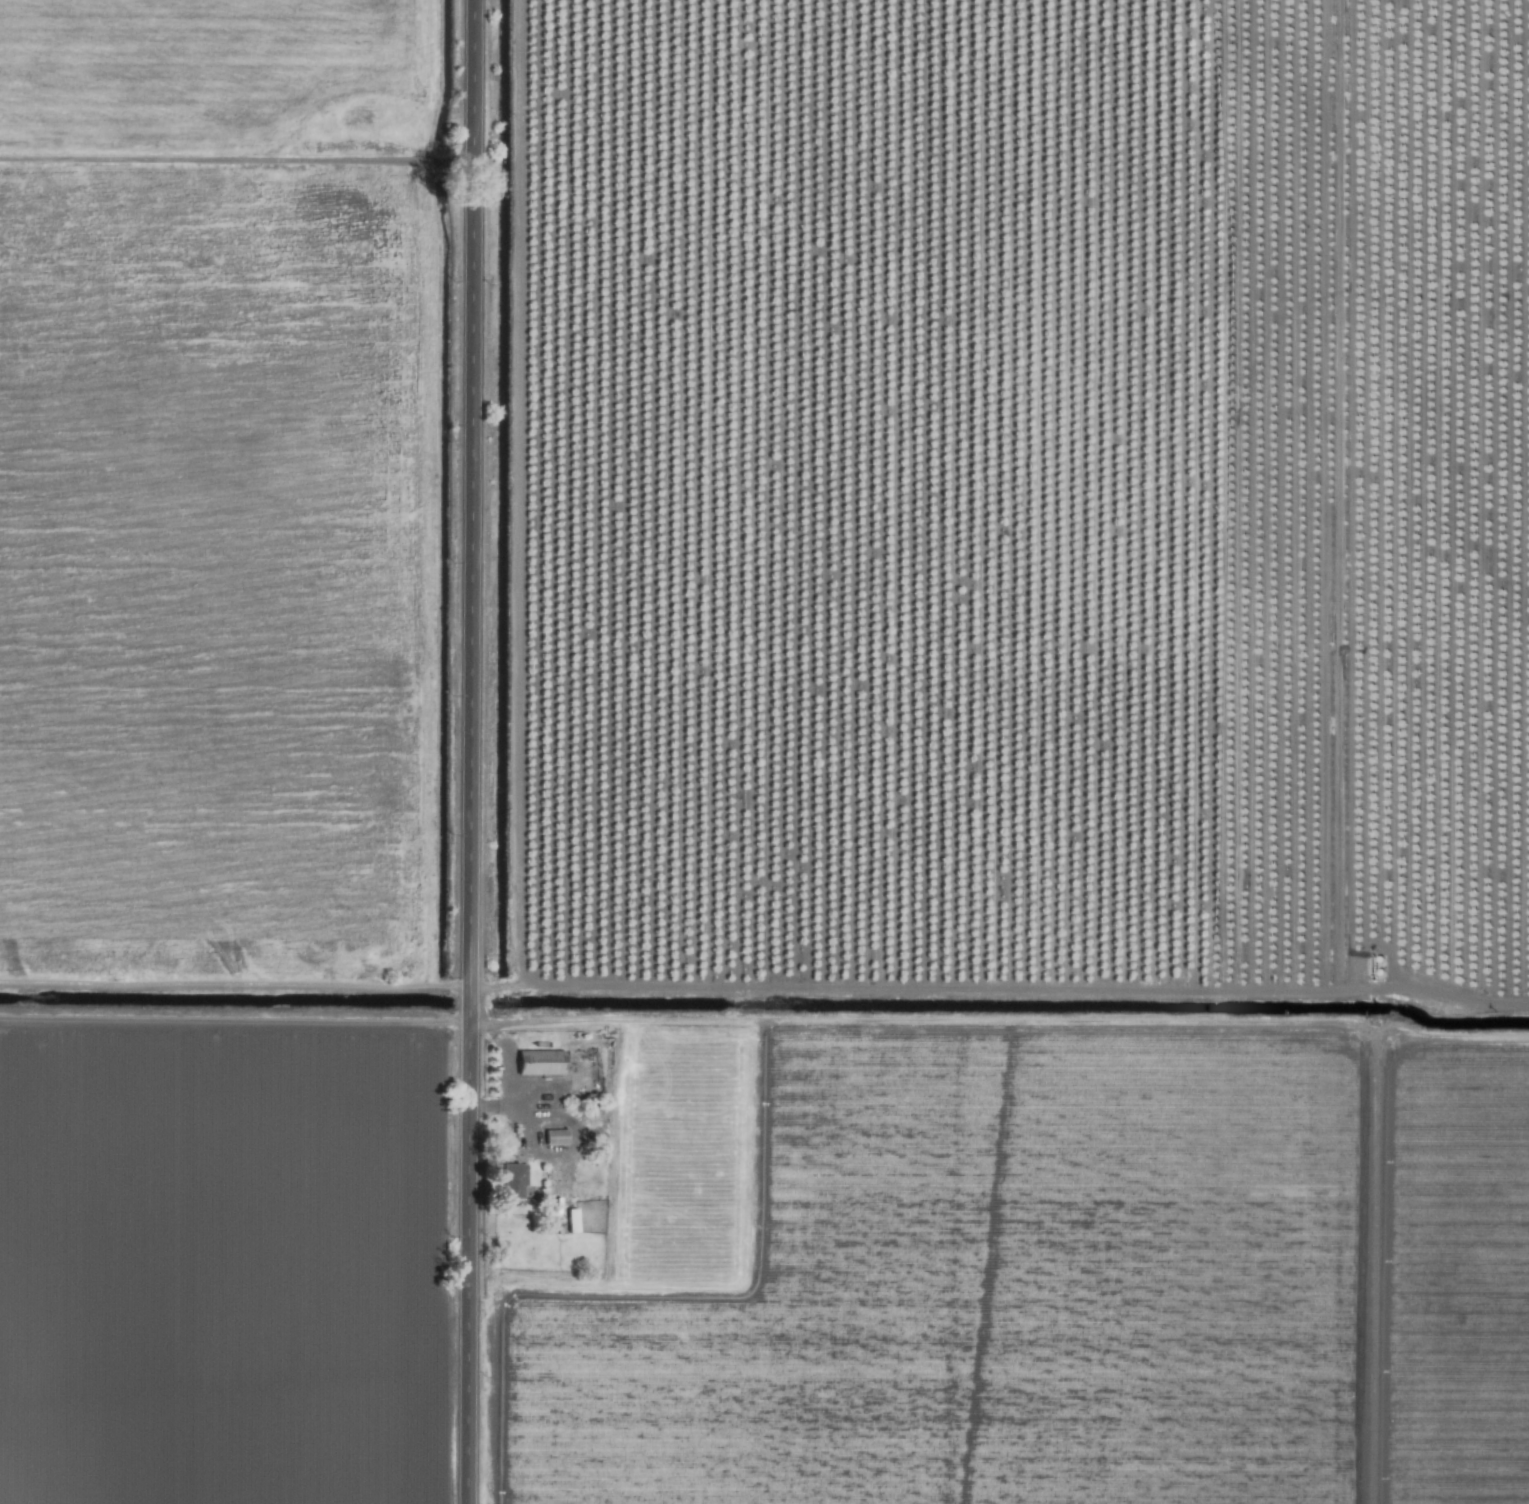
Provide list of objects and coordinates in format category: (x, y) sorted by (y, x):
road: (237, 163)
road: (473, 752)
road: (1000, 988)
building: (539, 1062)
road: (510, 1074)
building: (555, 1136)
building: (513, 1180)

